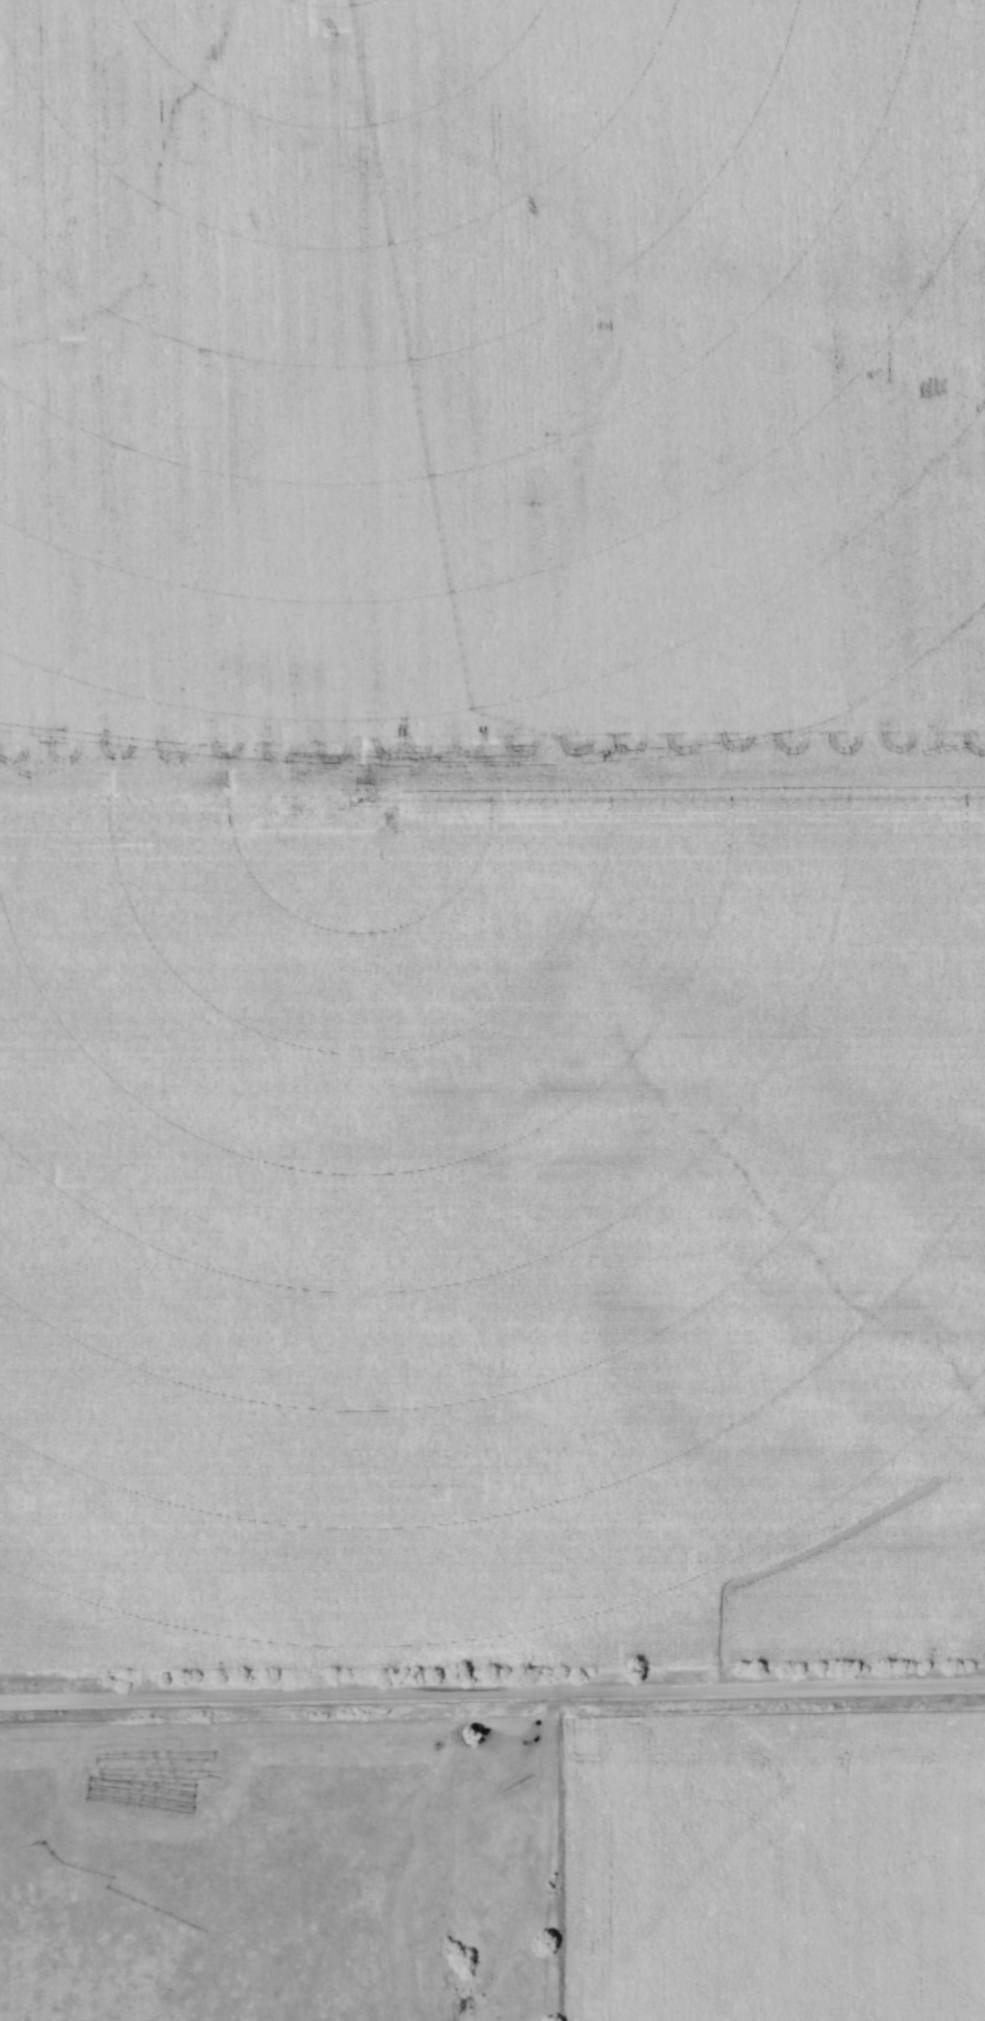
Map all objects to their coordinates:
road: (492, 1700)

